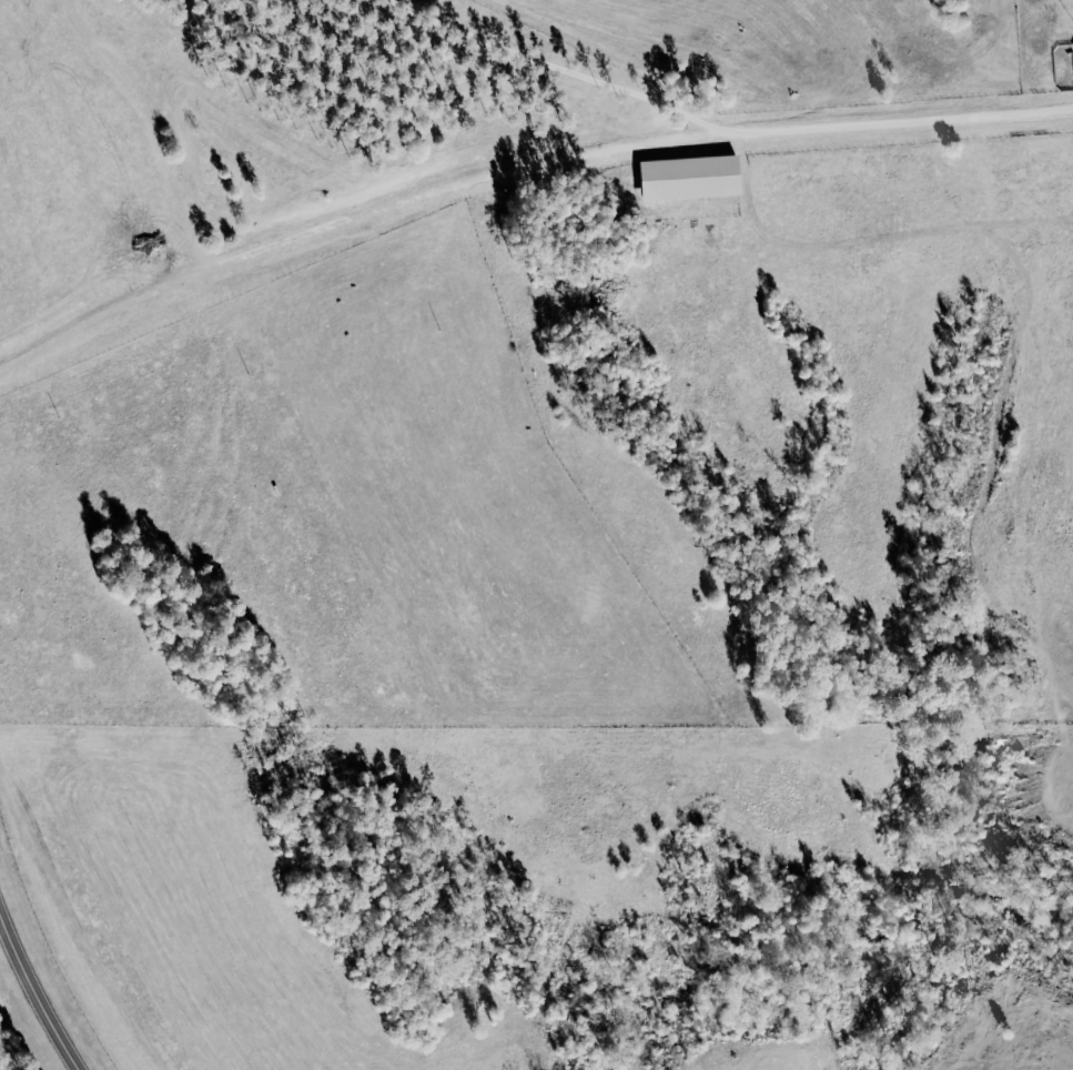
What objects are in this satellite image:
road: (519, 166)
building: (695, 178)
road: (34, 991)

